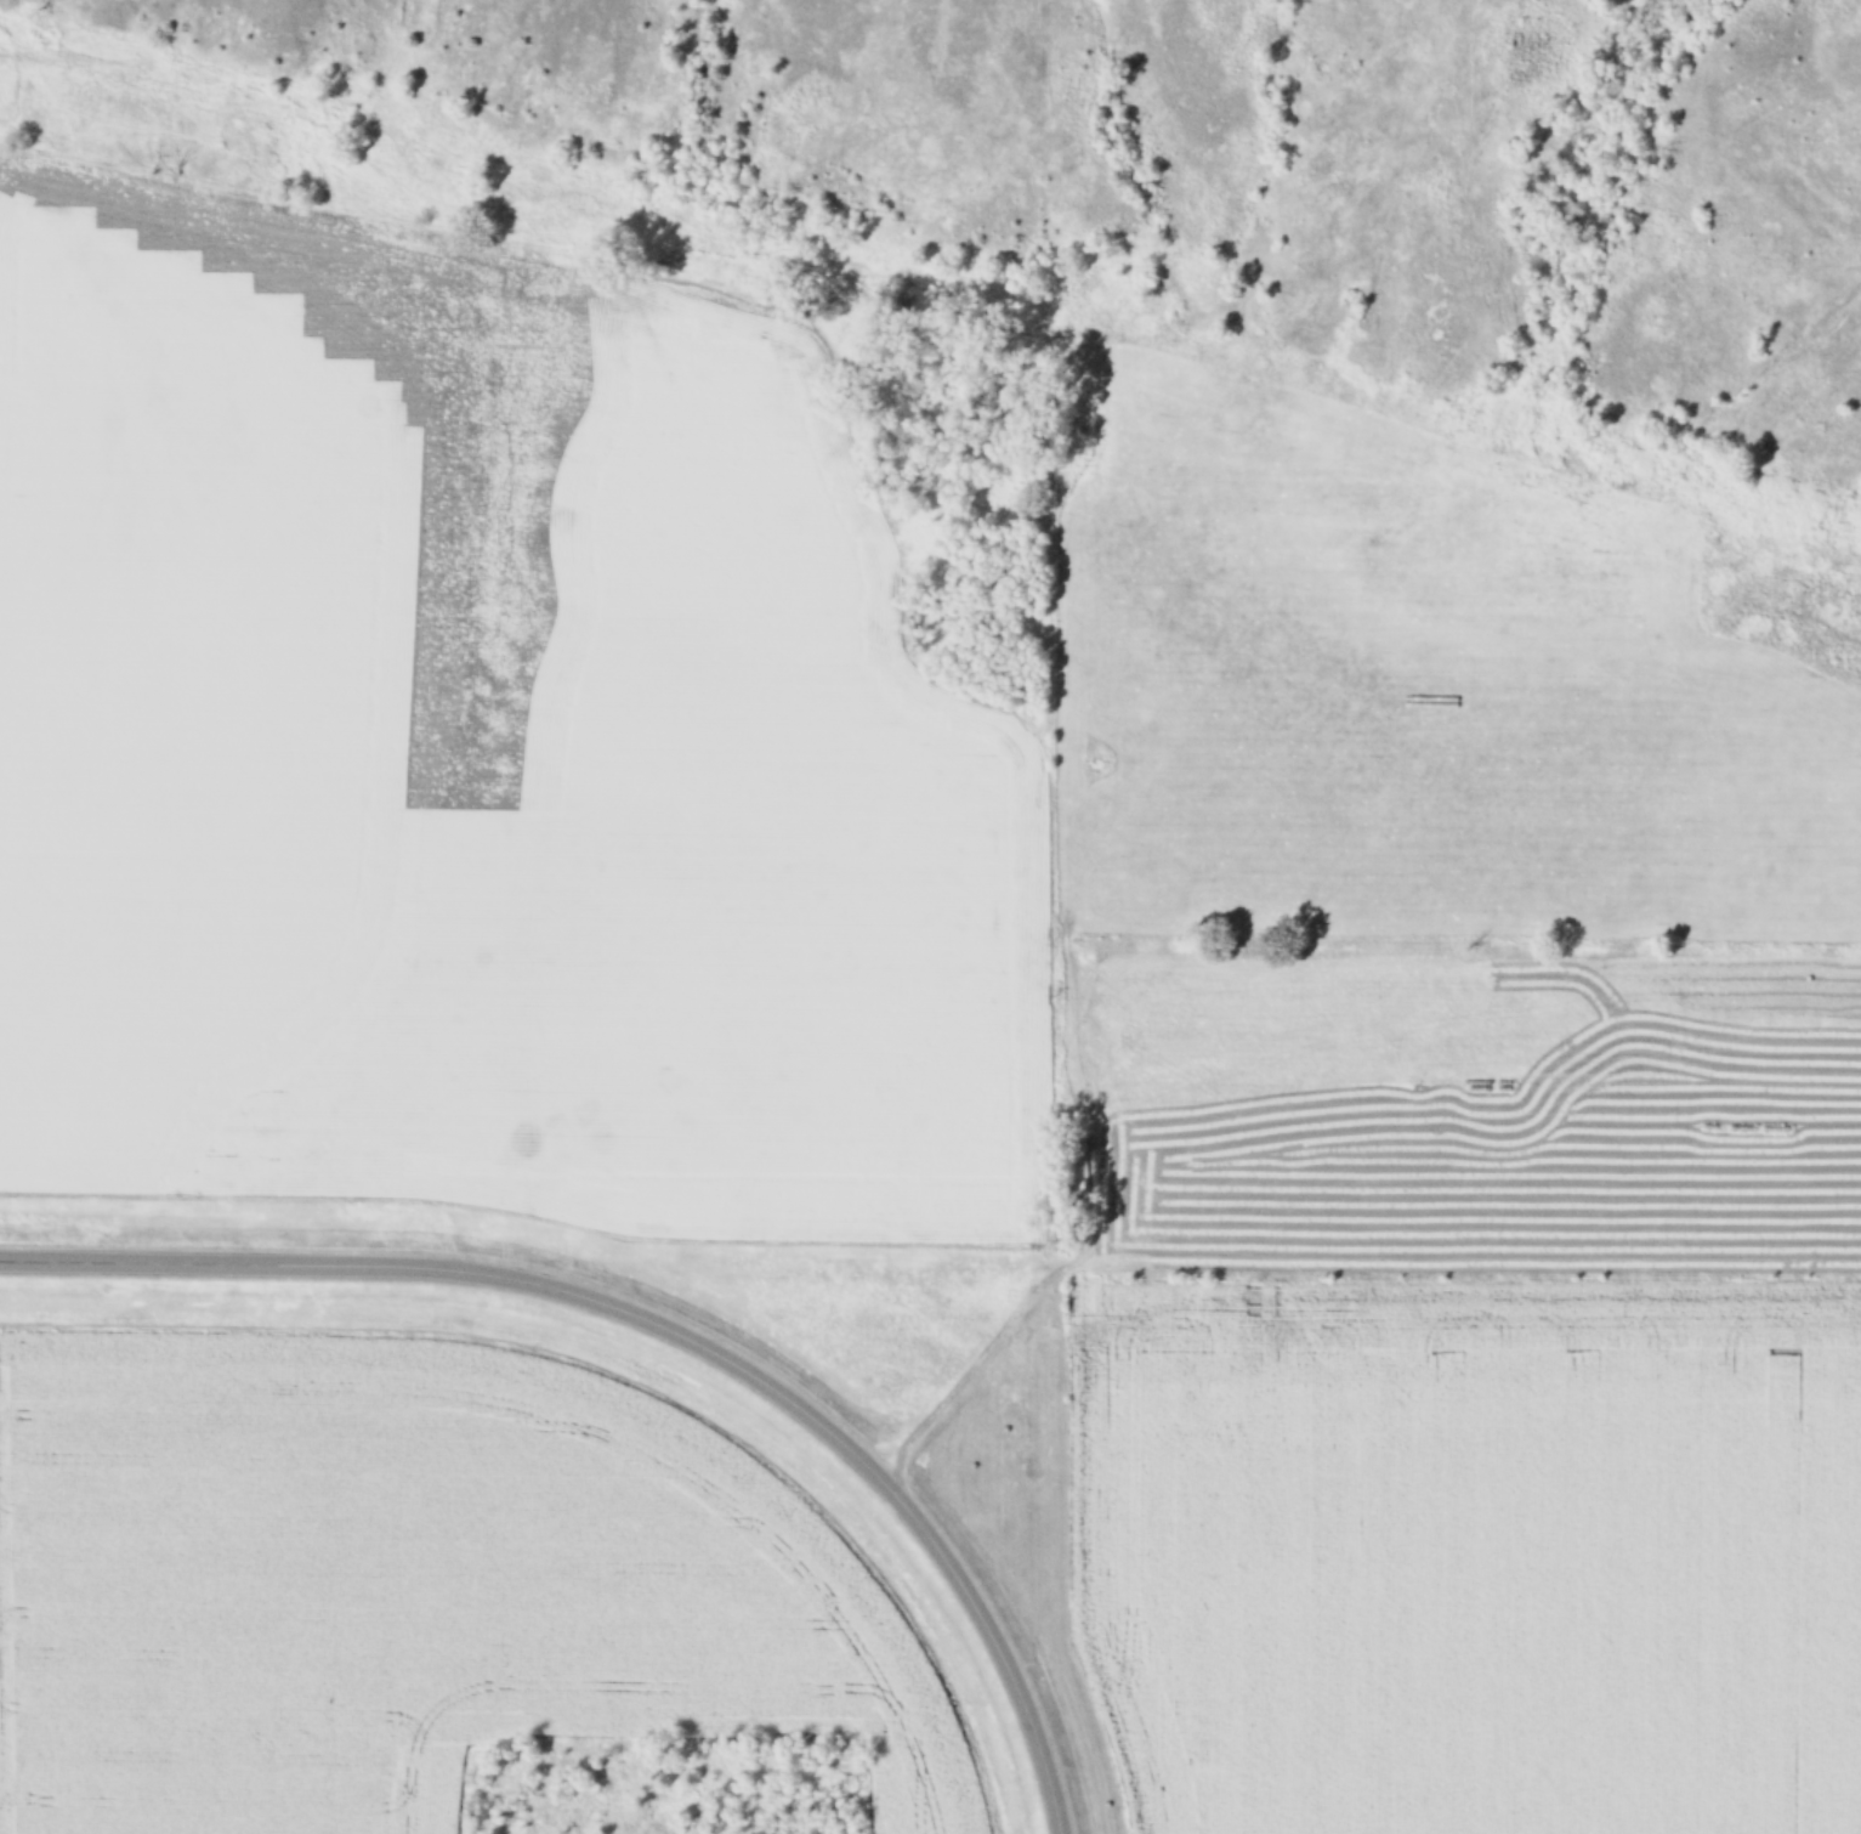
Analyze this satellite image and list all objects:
road: (664, 1328)

